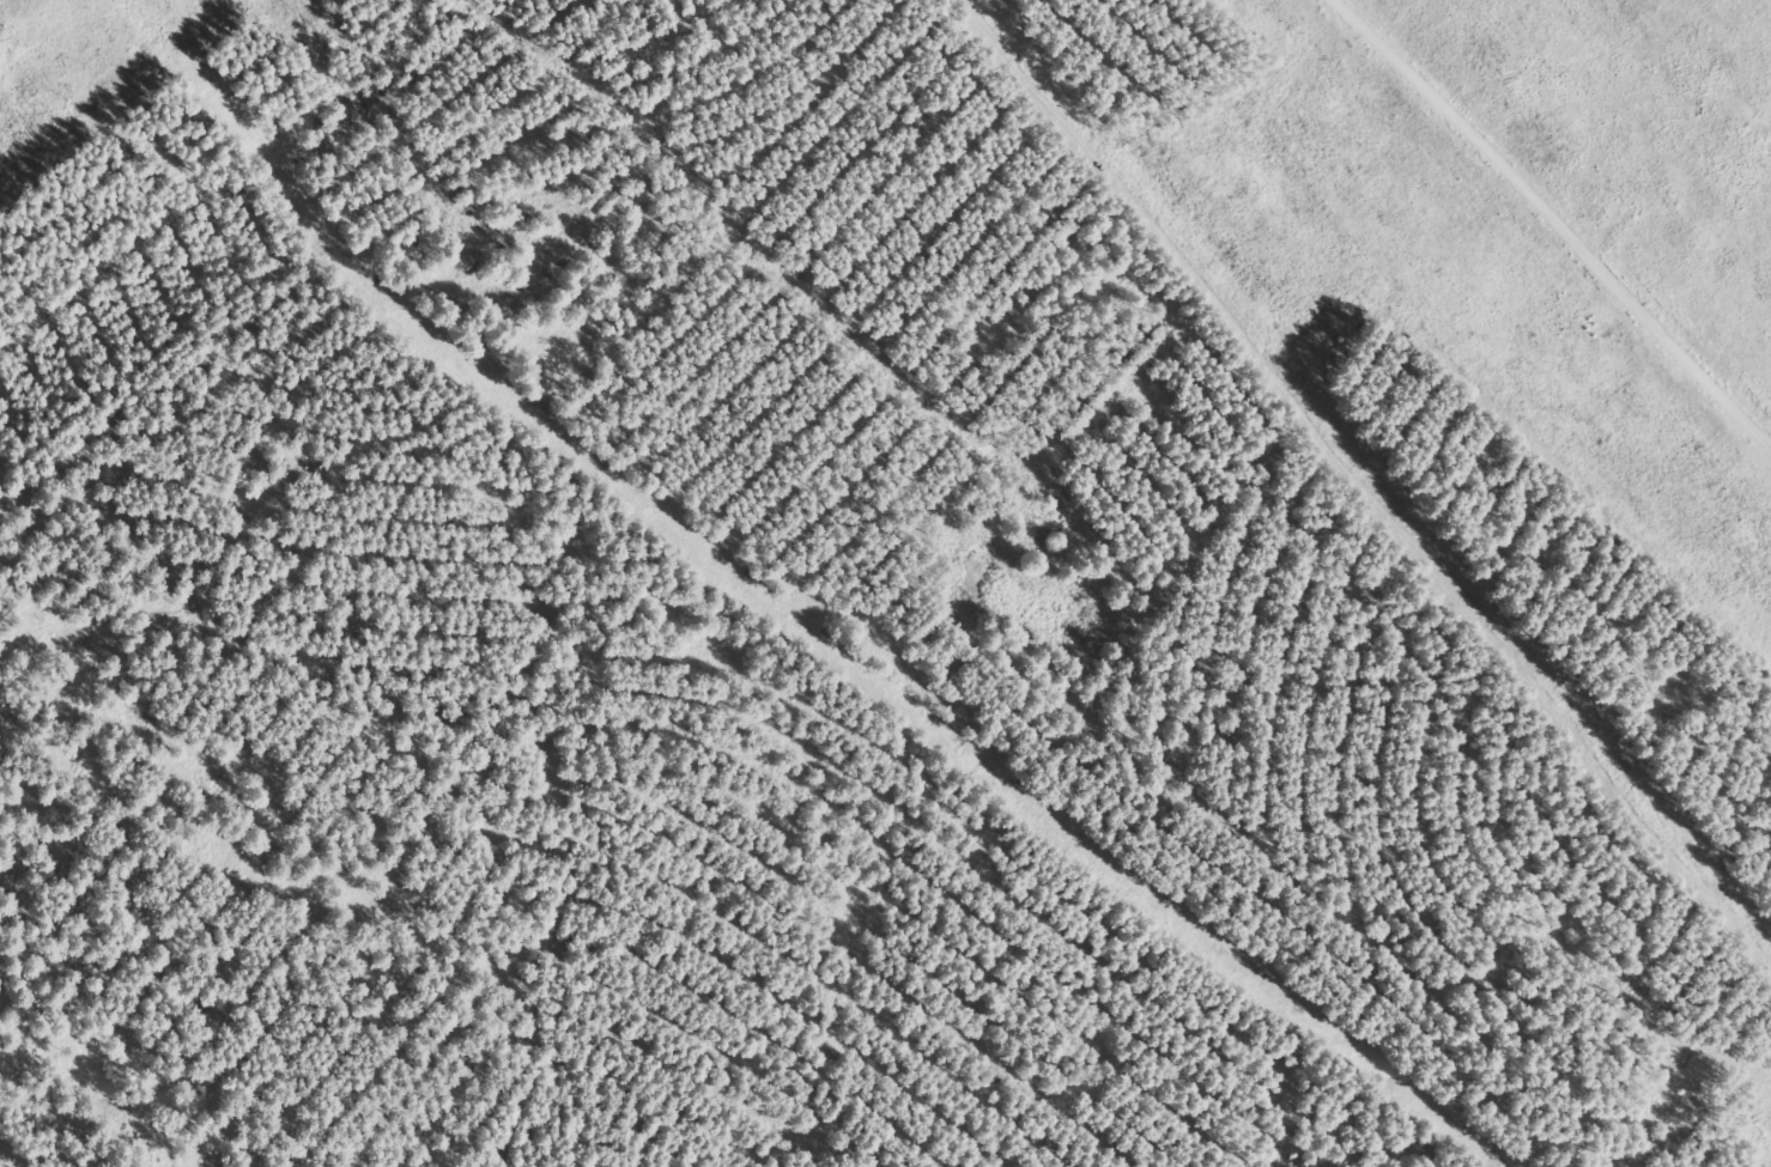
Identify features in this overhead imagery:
road: (1552, 221)

